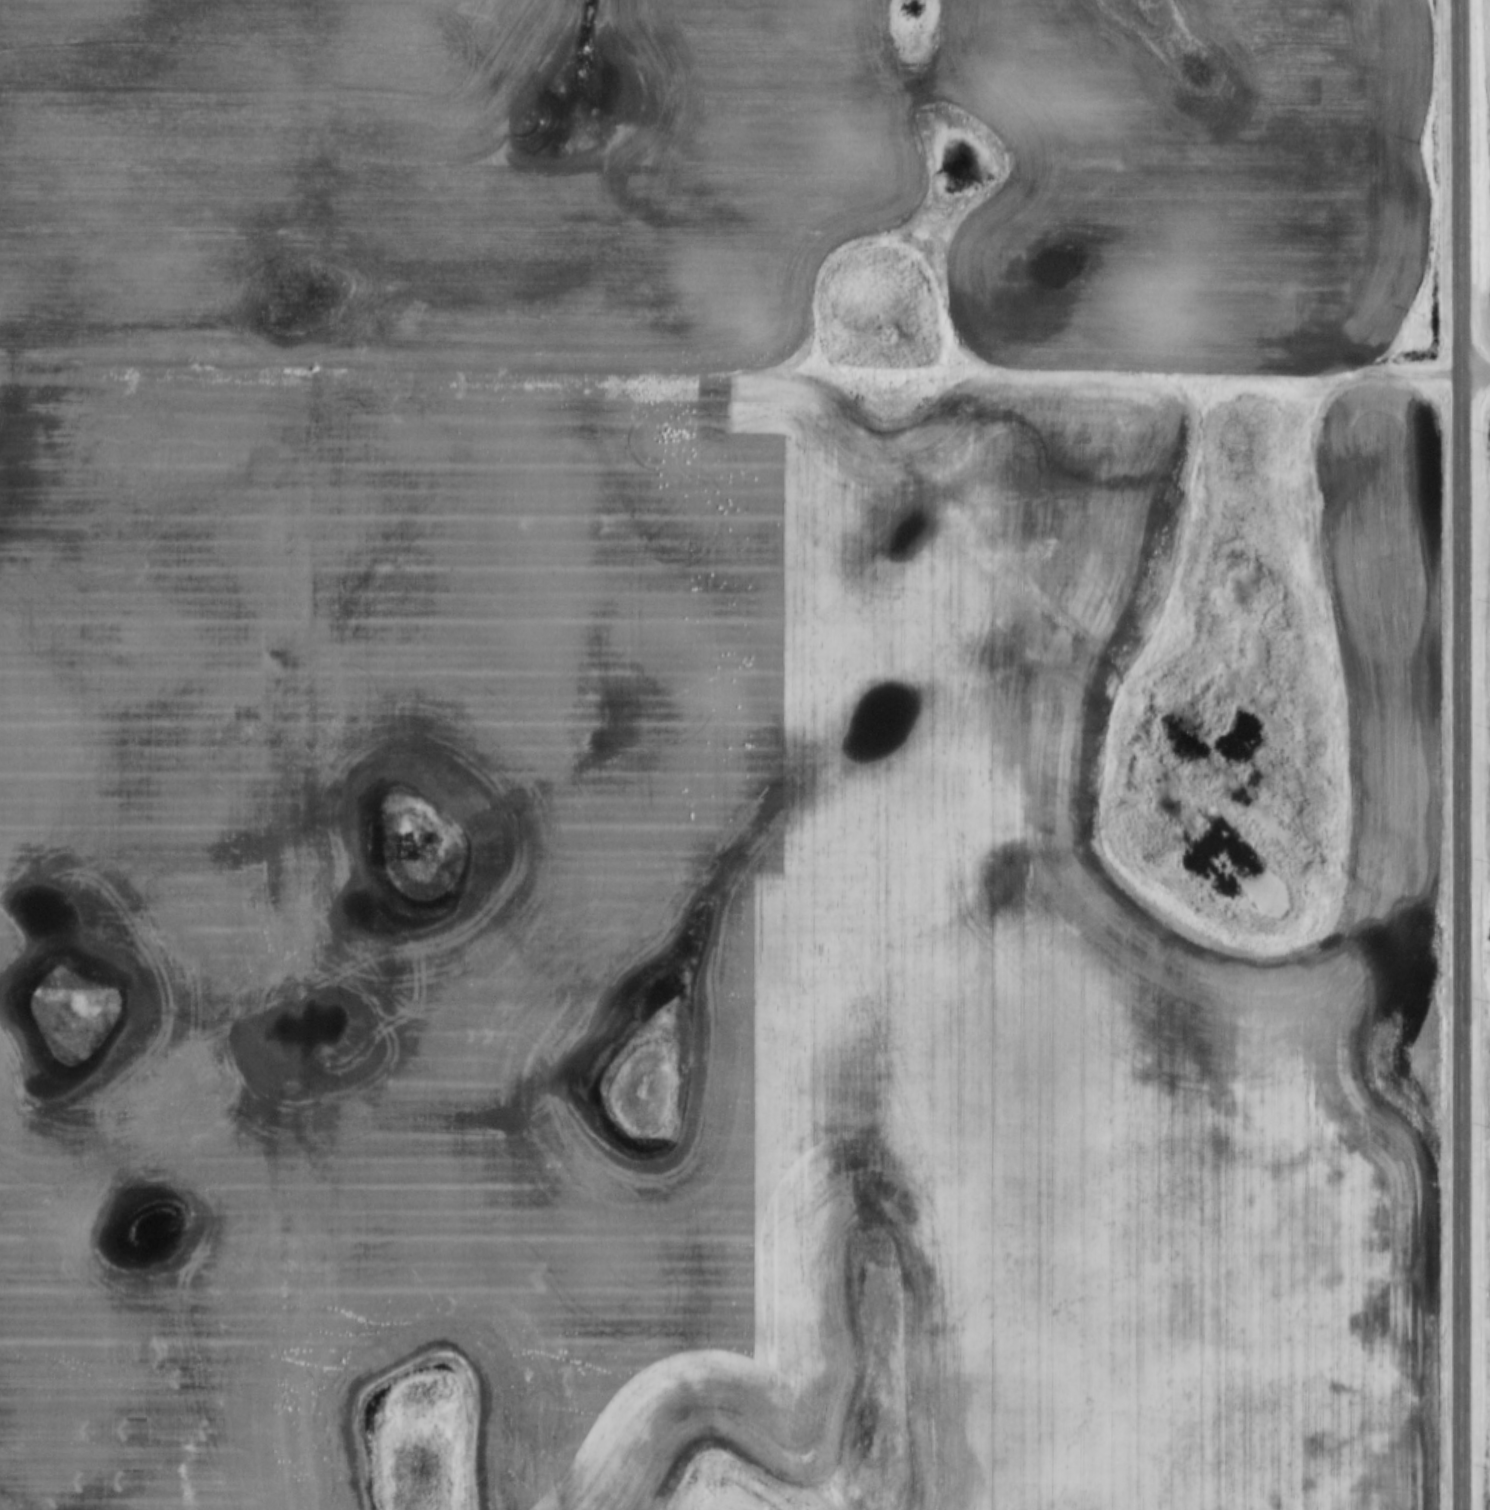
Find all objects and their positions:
road: (1476, 368)
road: (1461, 754)

